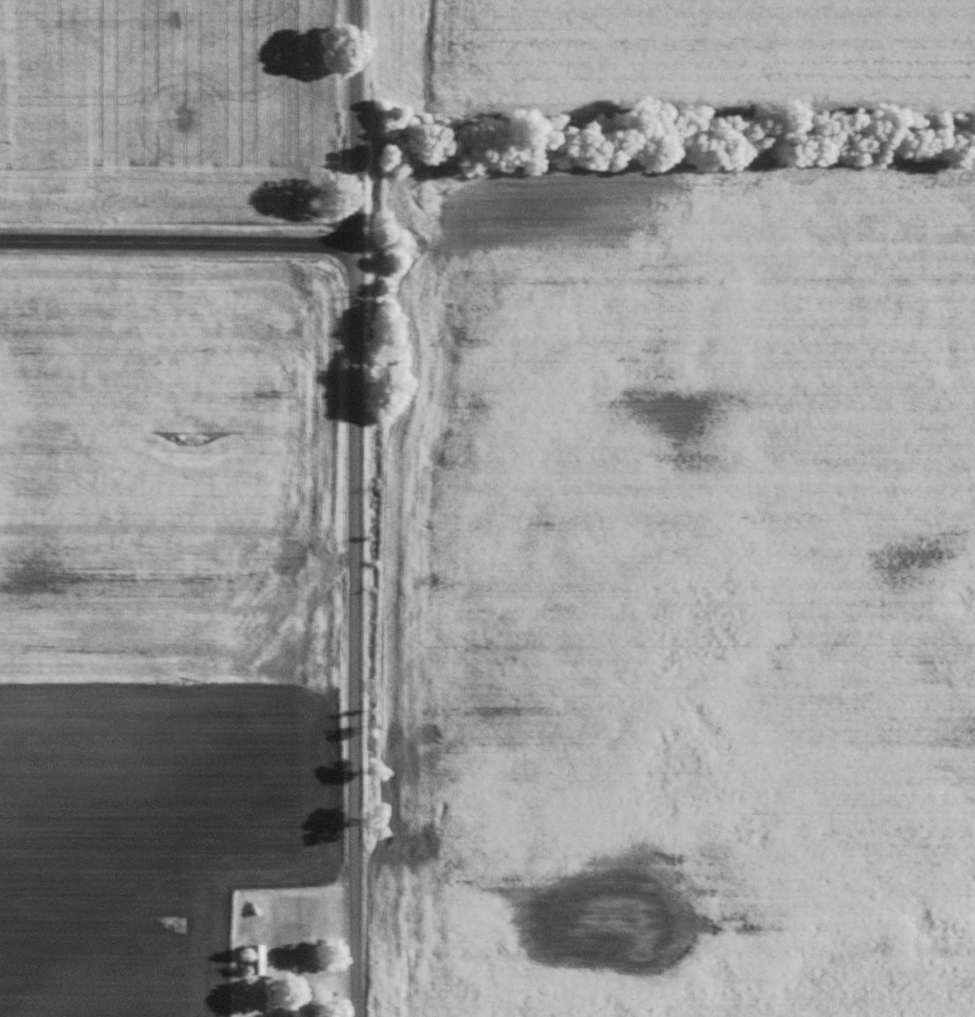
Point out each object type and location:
road: (356, 122)
road: (178, 242)
road: (355, 630)
building: (257, 958)
building: (278, 1016)

